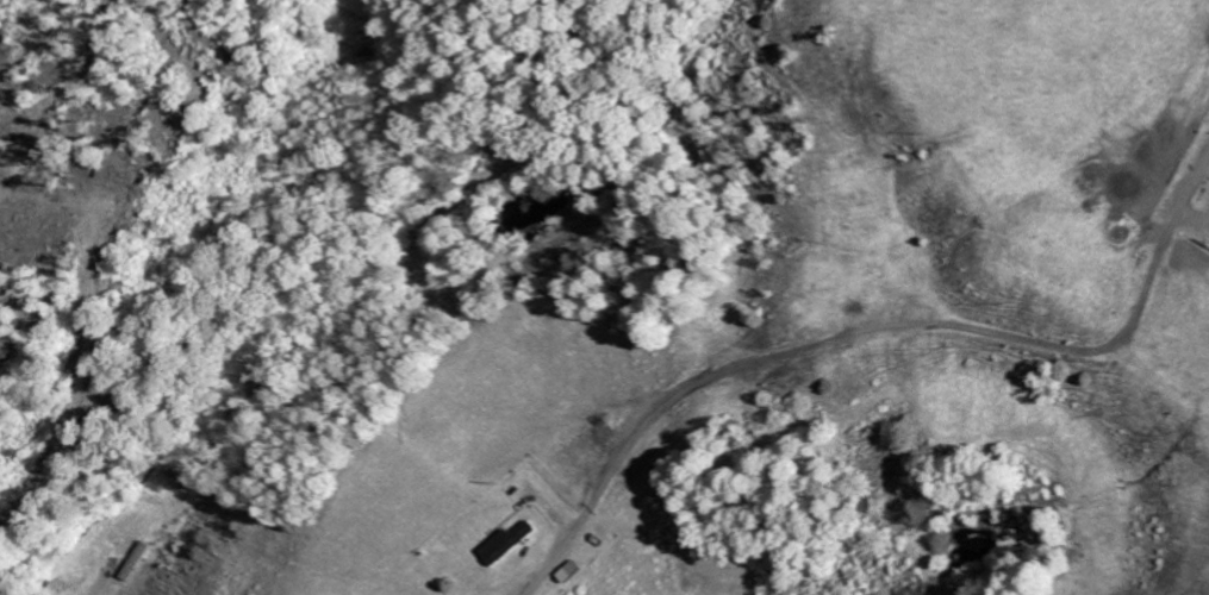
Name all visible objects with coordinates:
building: (504, 543)

